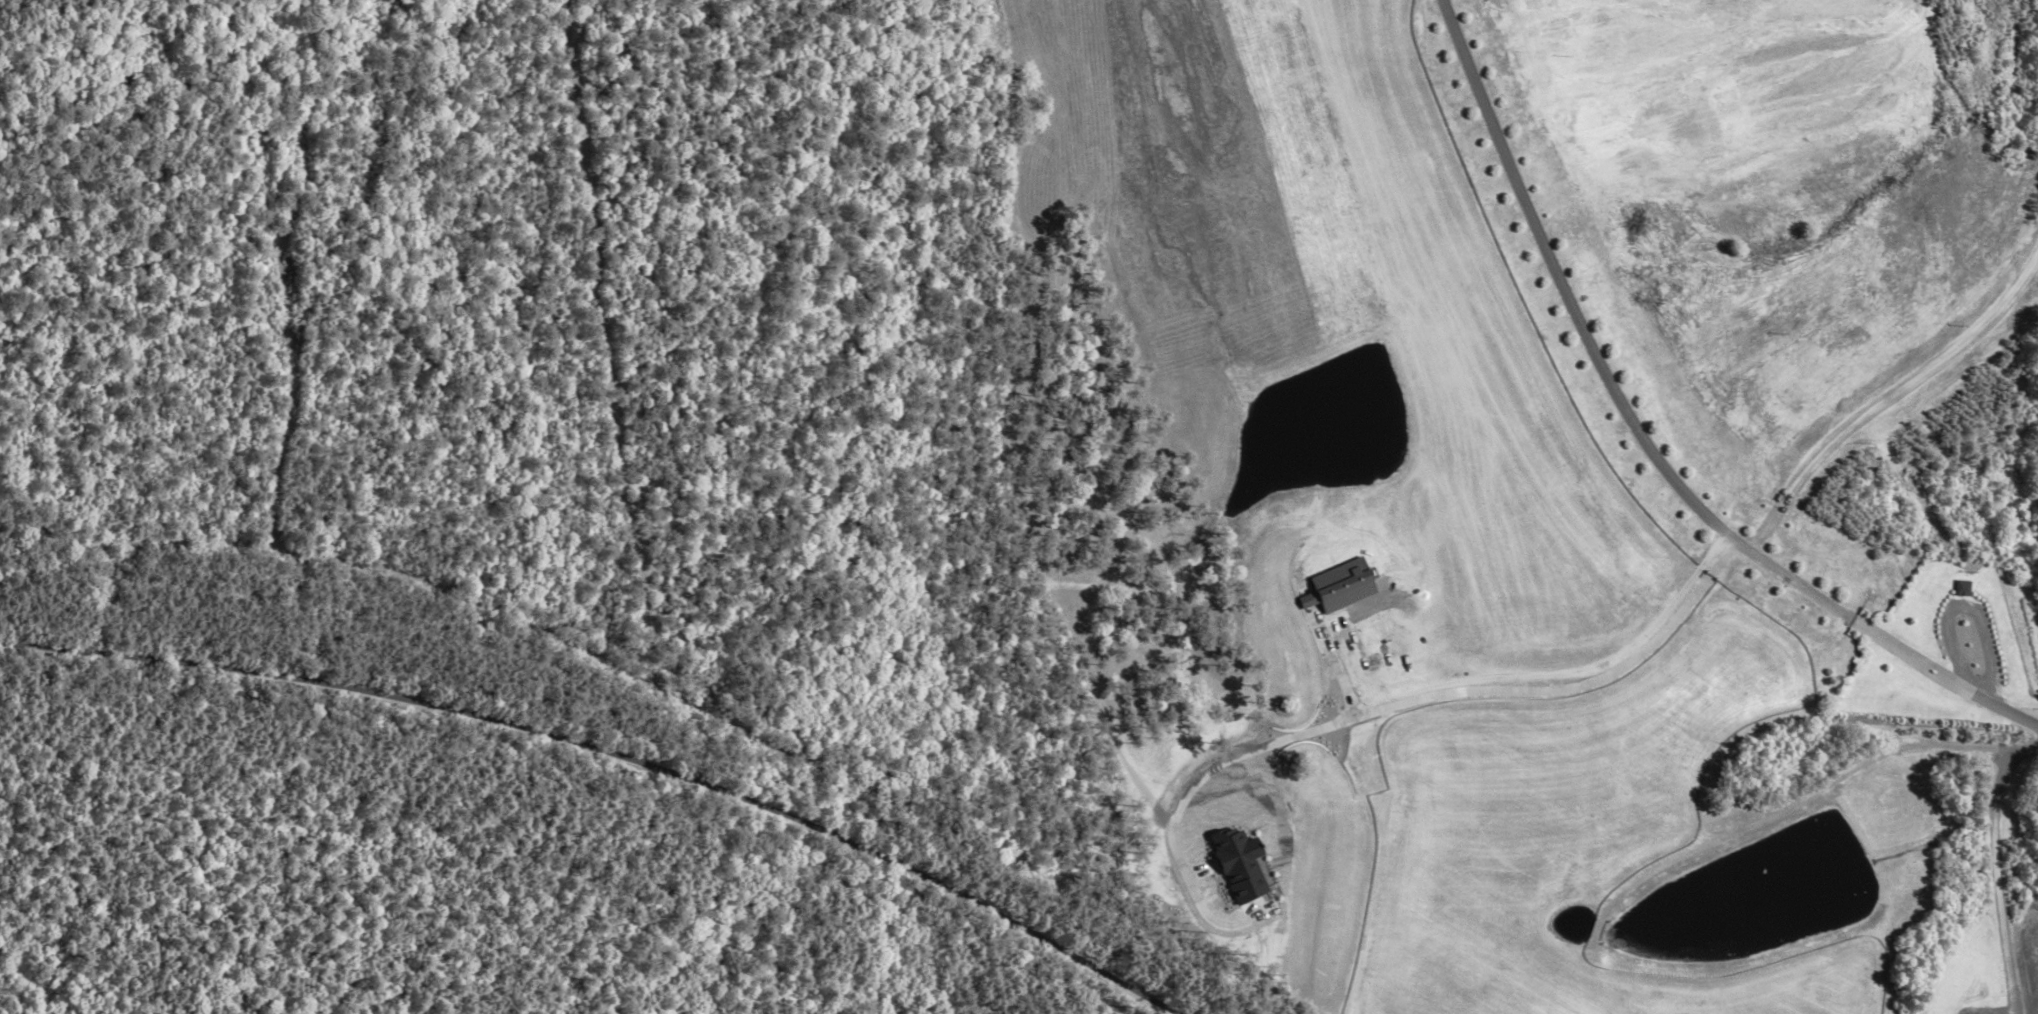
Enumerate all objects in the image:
road: (1644, 444)
road: (607, 756)
road: (1995, 861)

